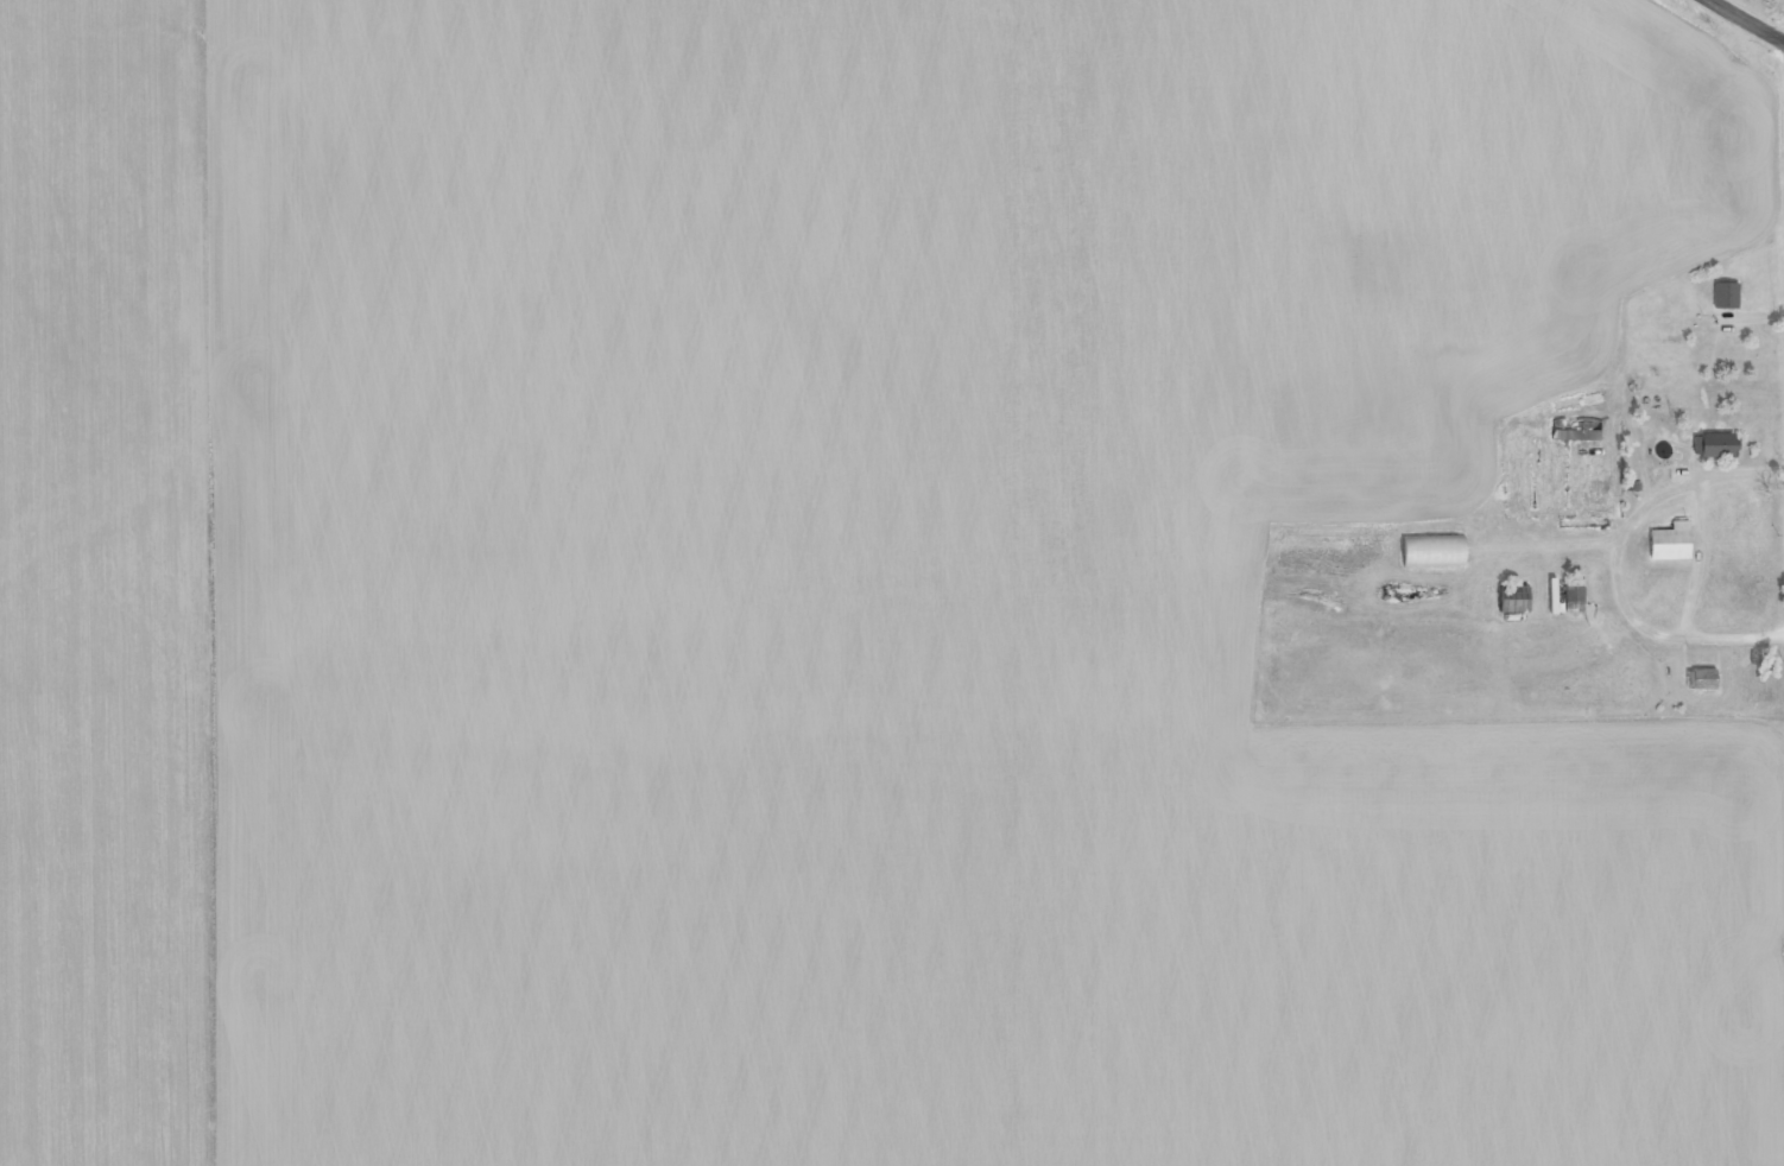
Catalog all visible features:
road: (1752, 18)
building: (1723, 294)
building: (1573, 430)
building: (1709, 445)
building: (1666, 543)
building: (1429, 551)
building: (1571, 598)
building: (1698, 679)

